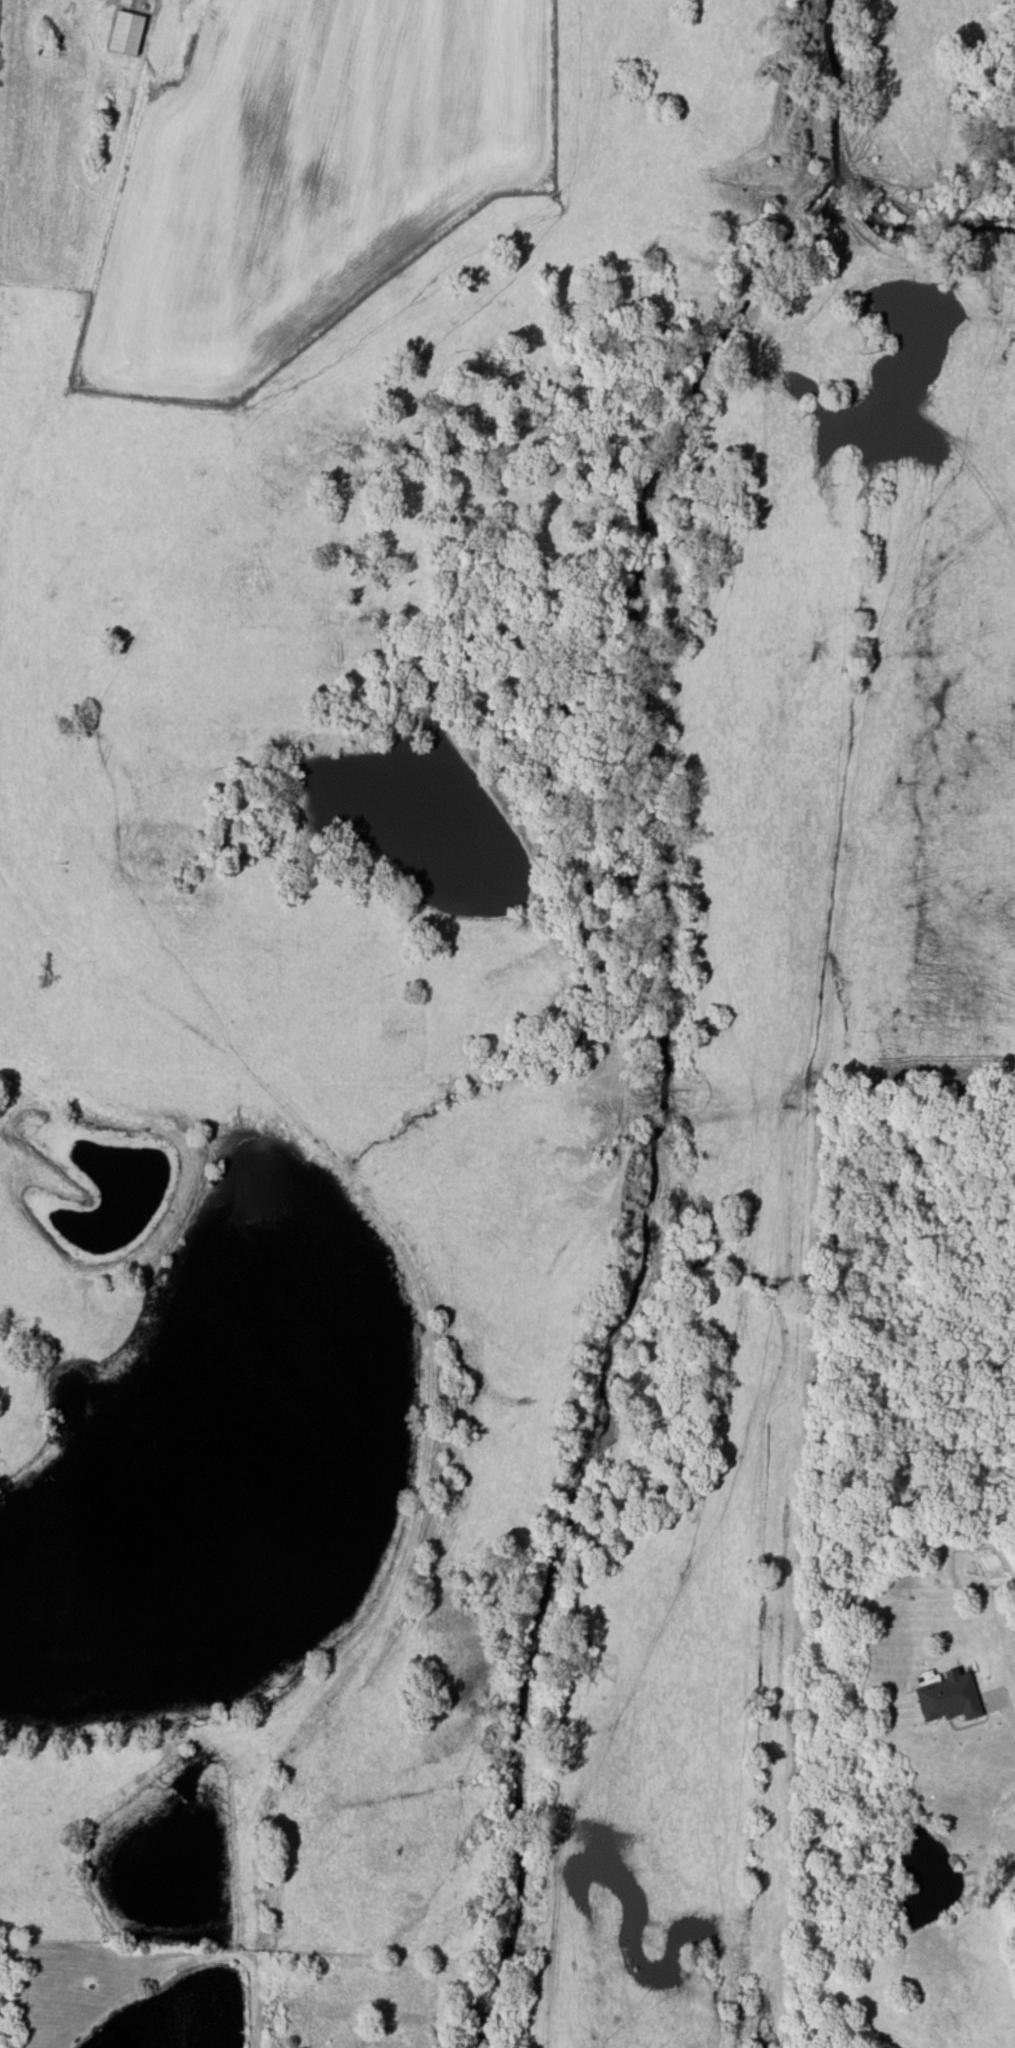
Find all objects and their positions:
building: (126, 32)
crop: (305, 179)
building: (948, 1697)
road: (1009, 1716)

